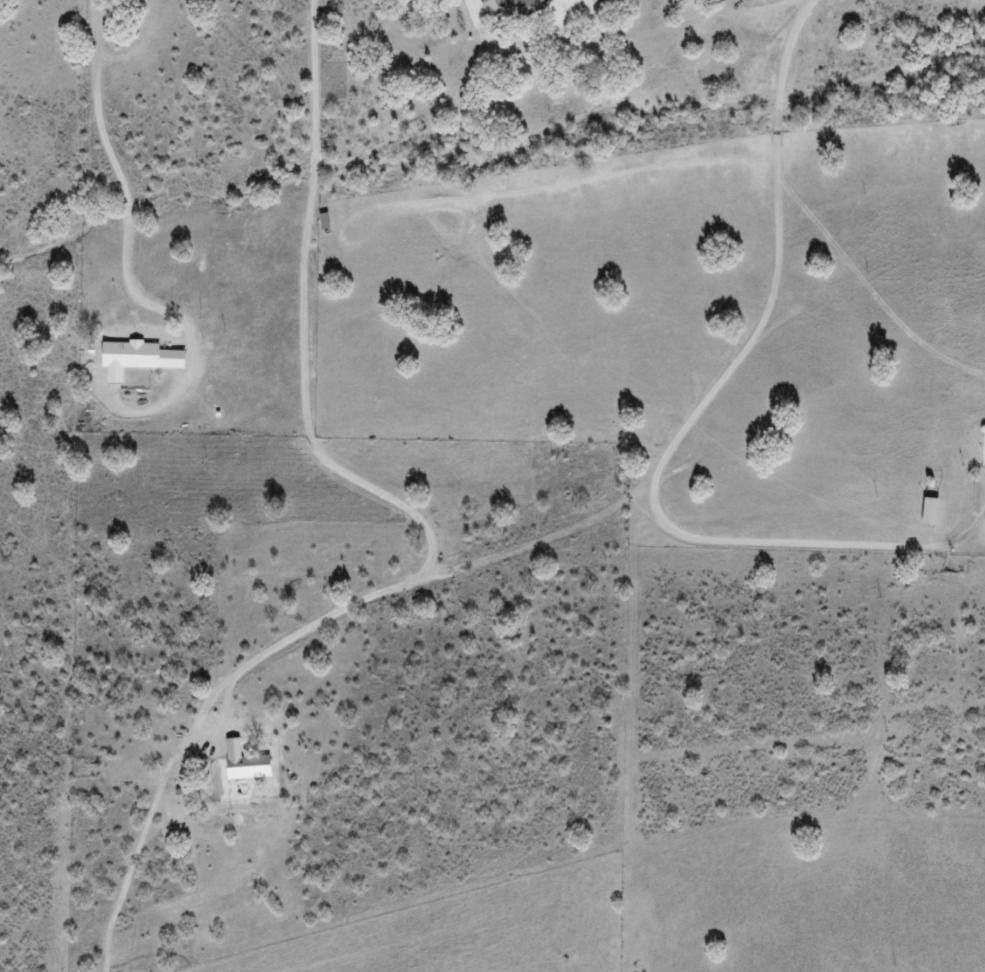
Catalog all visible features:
building: (513, 8)
building: (324, 221)
building: (136, 354)
road: (673, 481)
building: (930, 509)
building: (245, 761)

